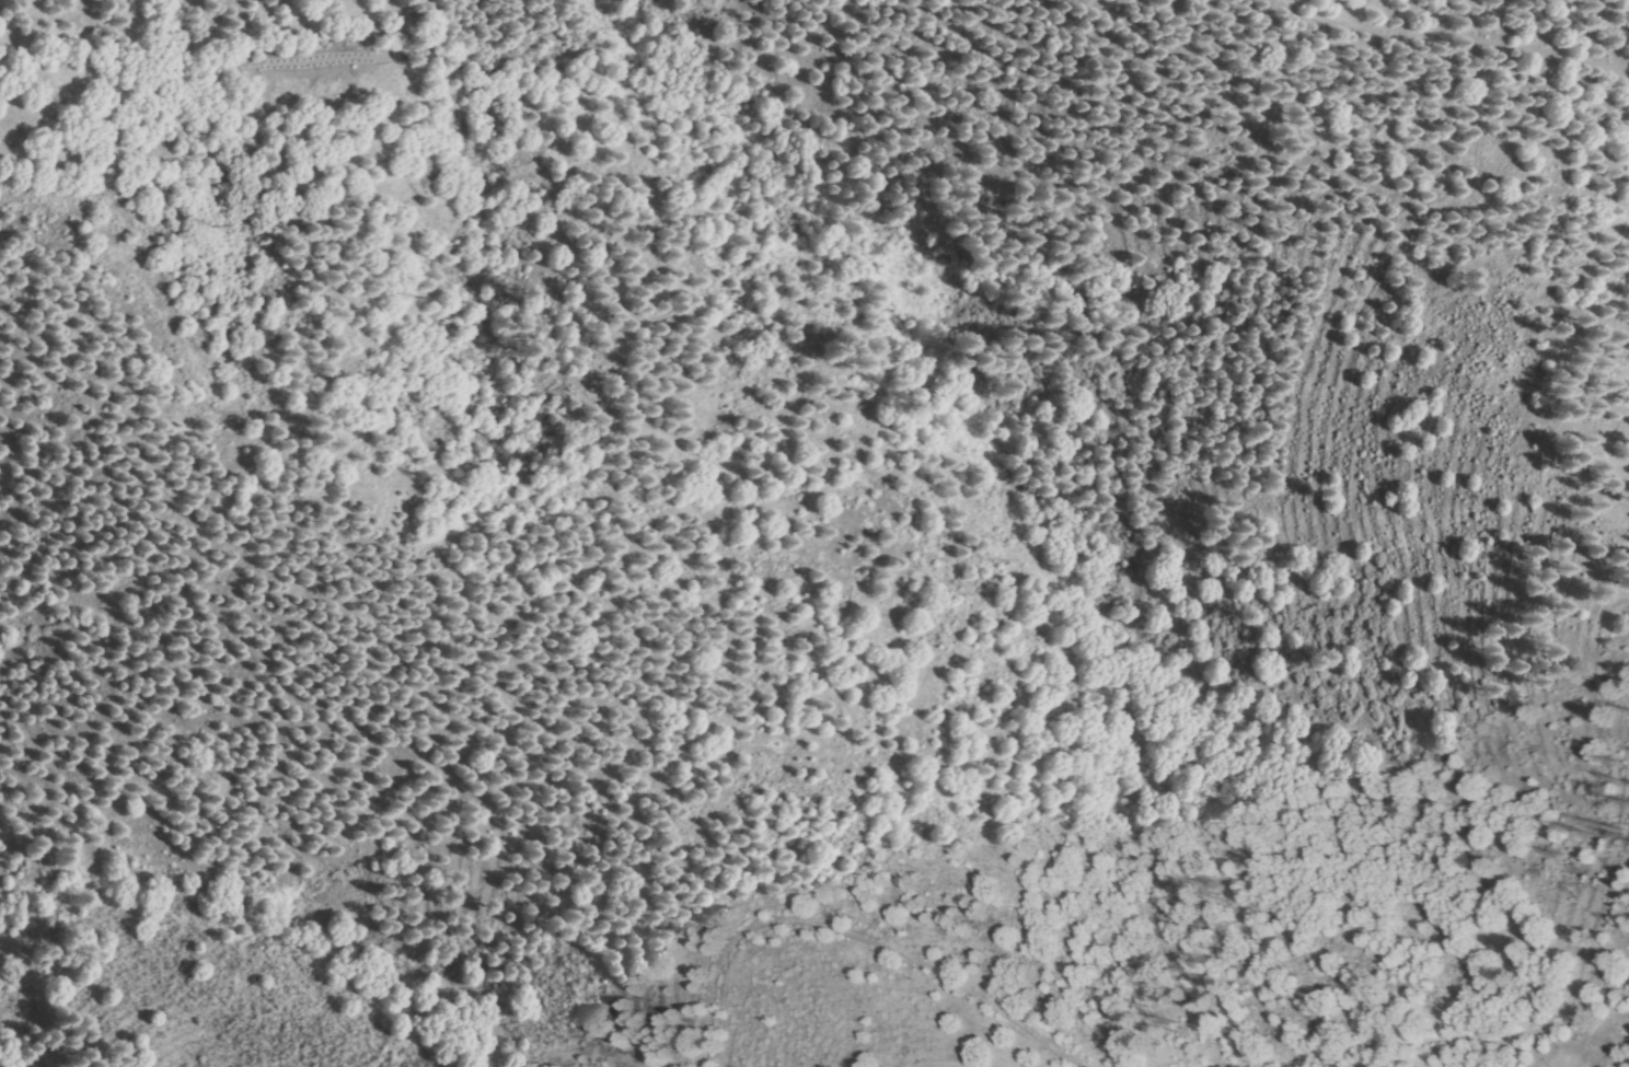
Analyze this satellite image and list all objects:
road: (860, 939)
road: (1477, 1043)

